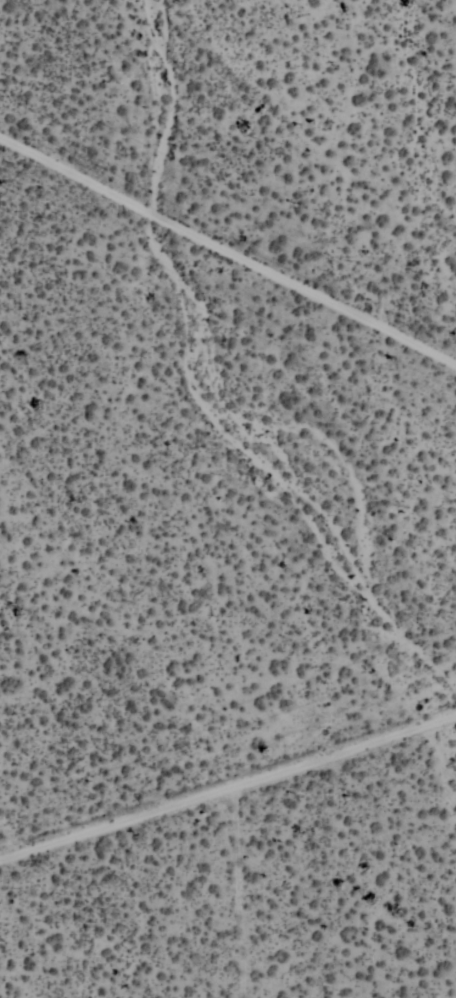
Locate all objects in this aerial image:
road: (228, 782)

